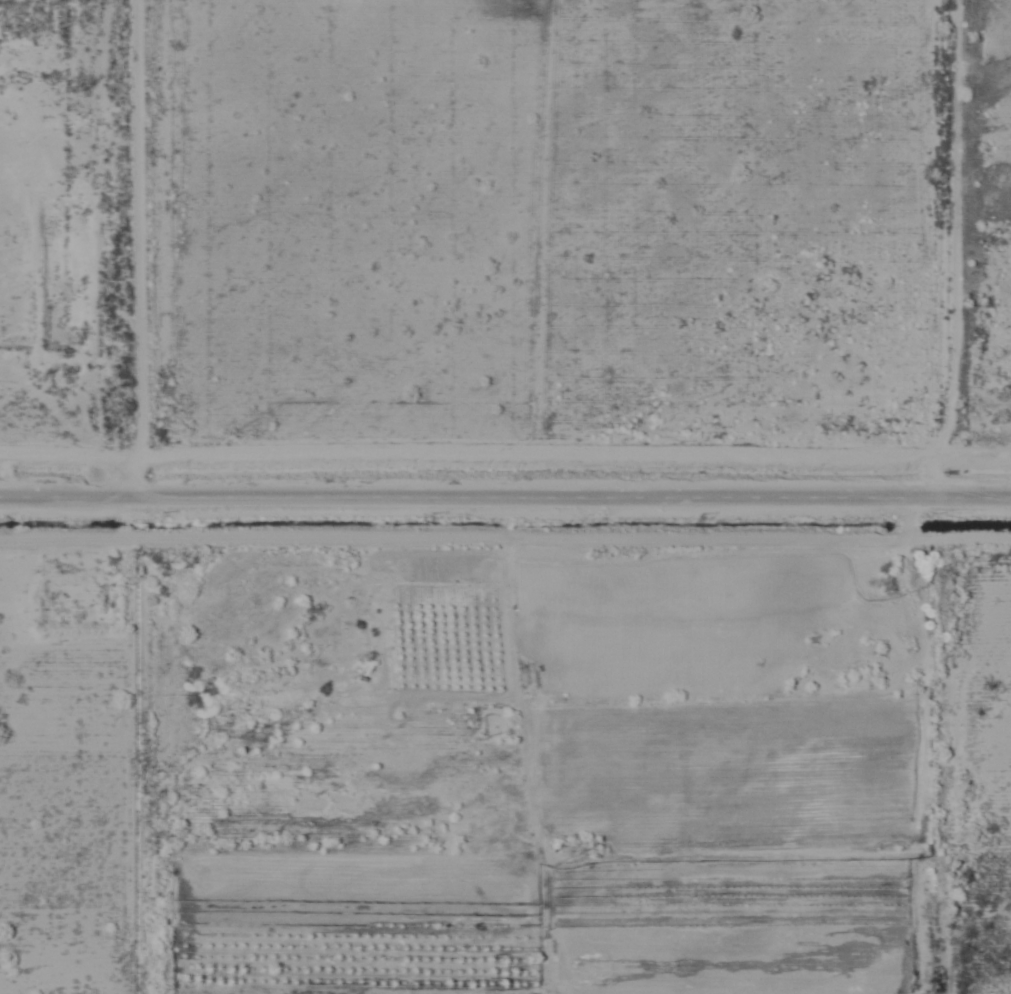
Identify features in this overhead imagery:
road: (505, 492)

